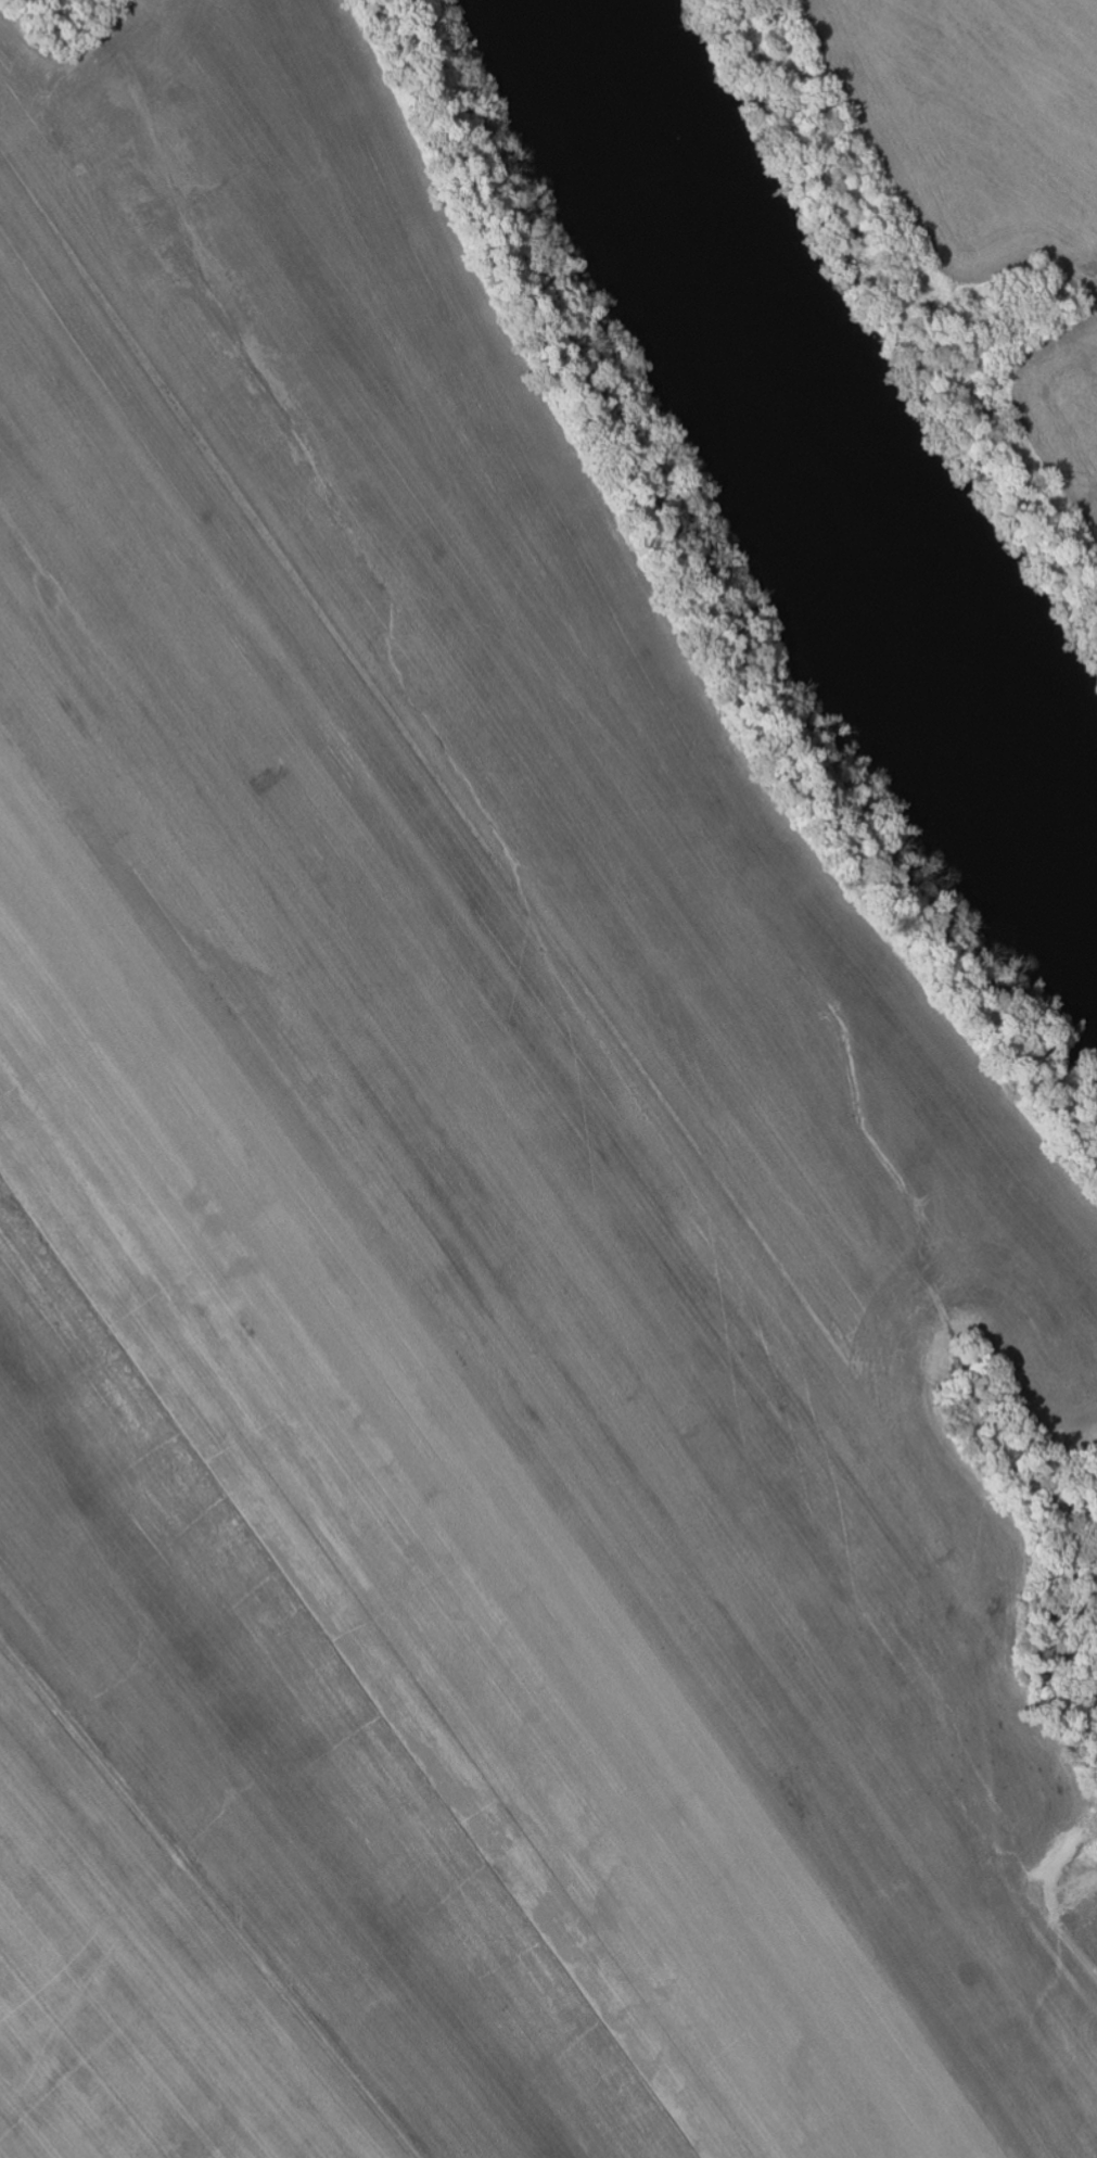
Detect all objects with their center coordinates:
river: (796, 452)
road: (78, 2033)

